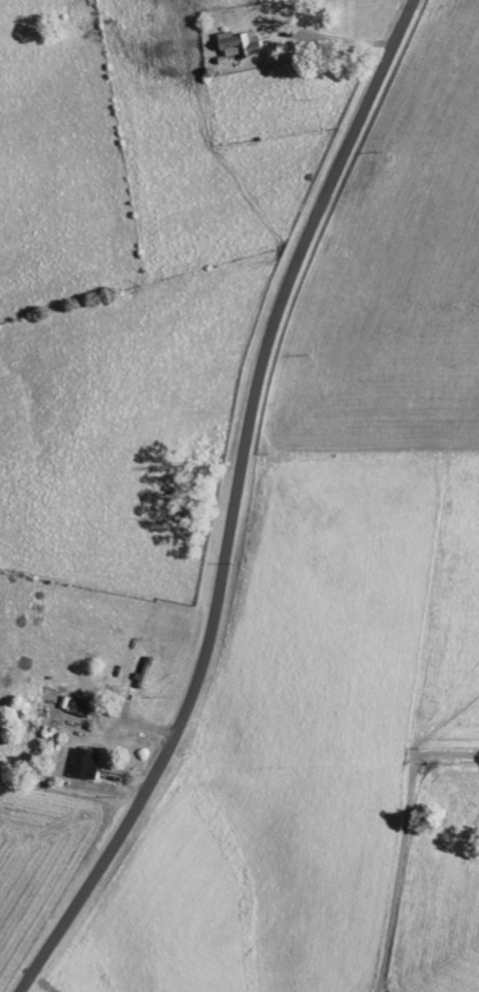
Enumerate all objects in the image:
building: (241, 45)
road: (233, 505)
building: (81, 706)
building: (87, 763)

